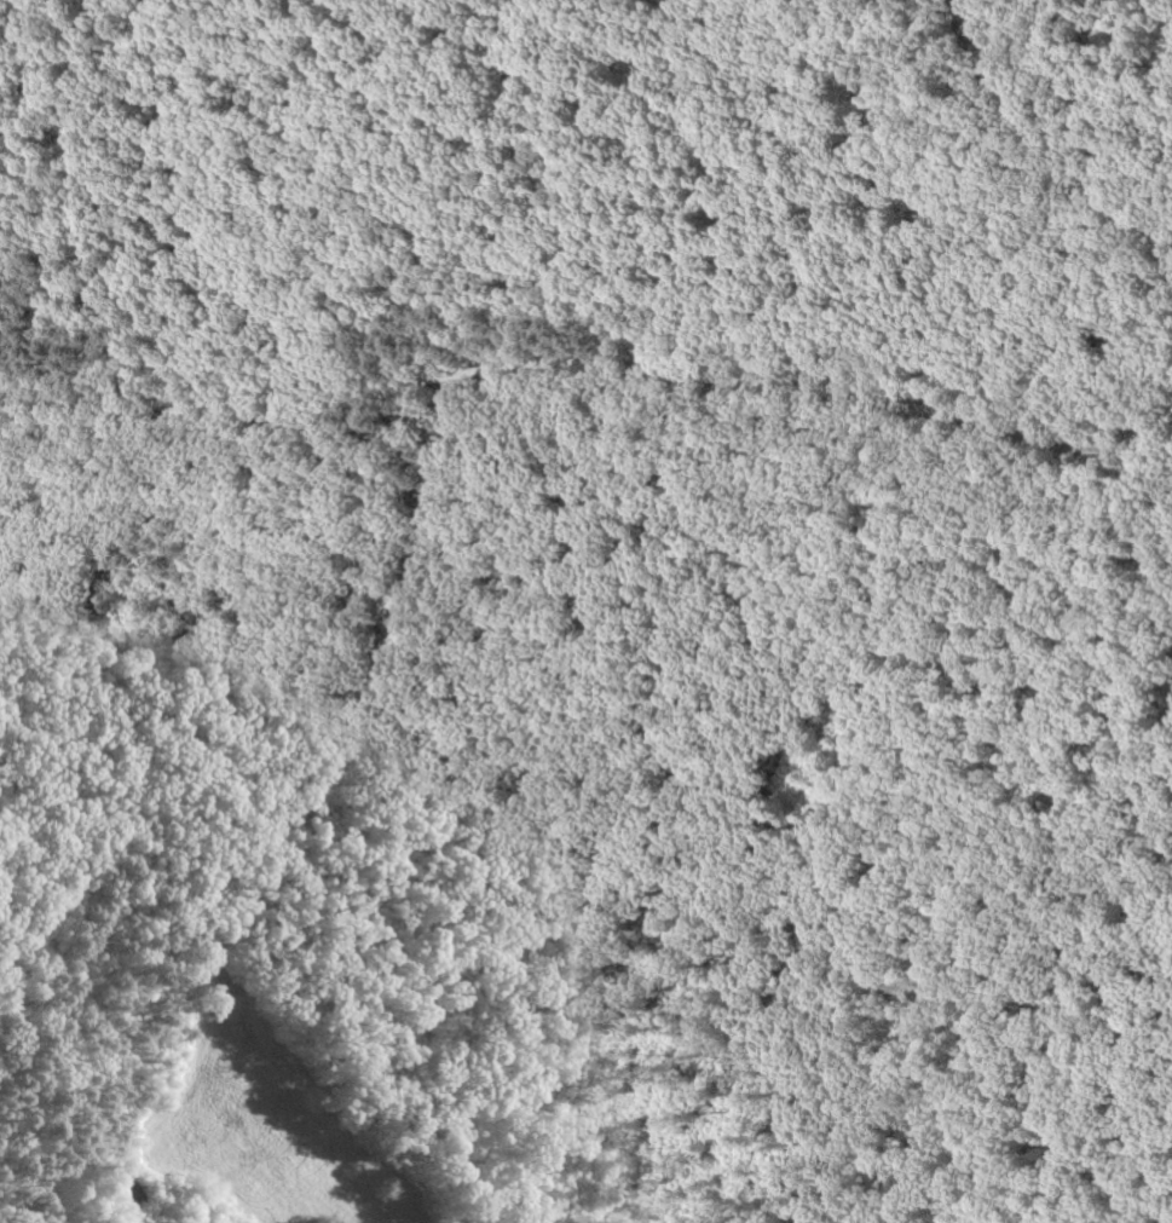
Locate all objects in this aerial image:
road: (1060, 135)
road: (581, 375)
road: (470, 480)
road: (258, 824)

